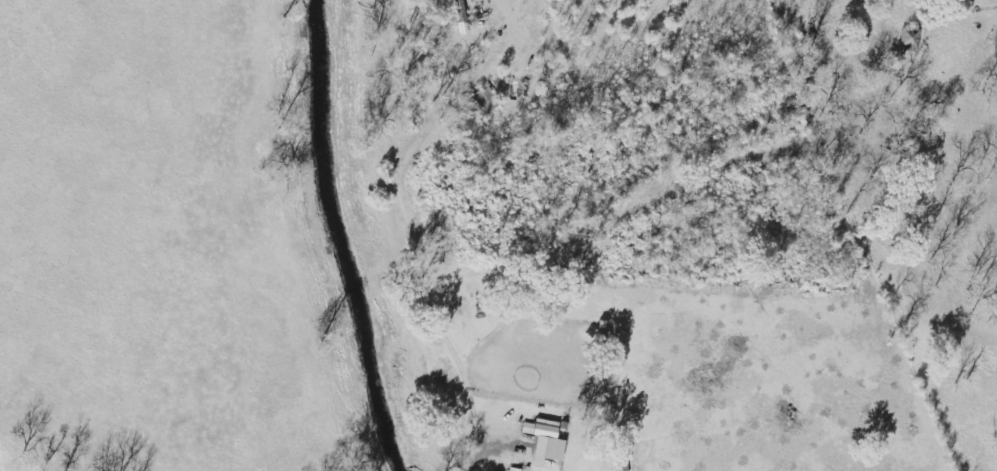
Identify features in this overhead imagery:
building: (910, 39)
building: (483, 103)
river: (345, 237)
road: (420, 238)
building: (548, 445)

